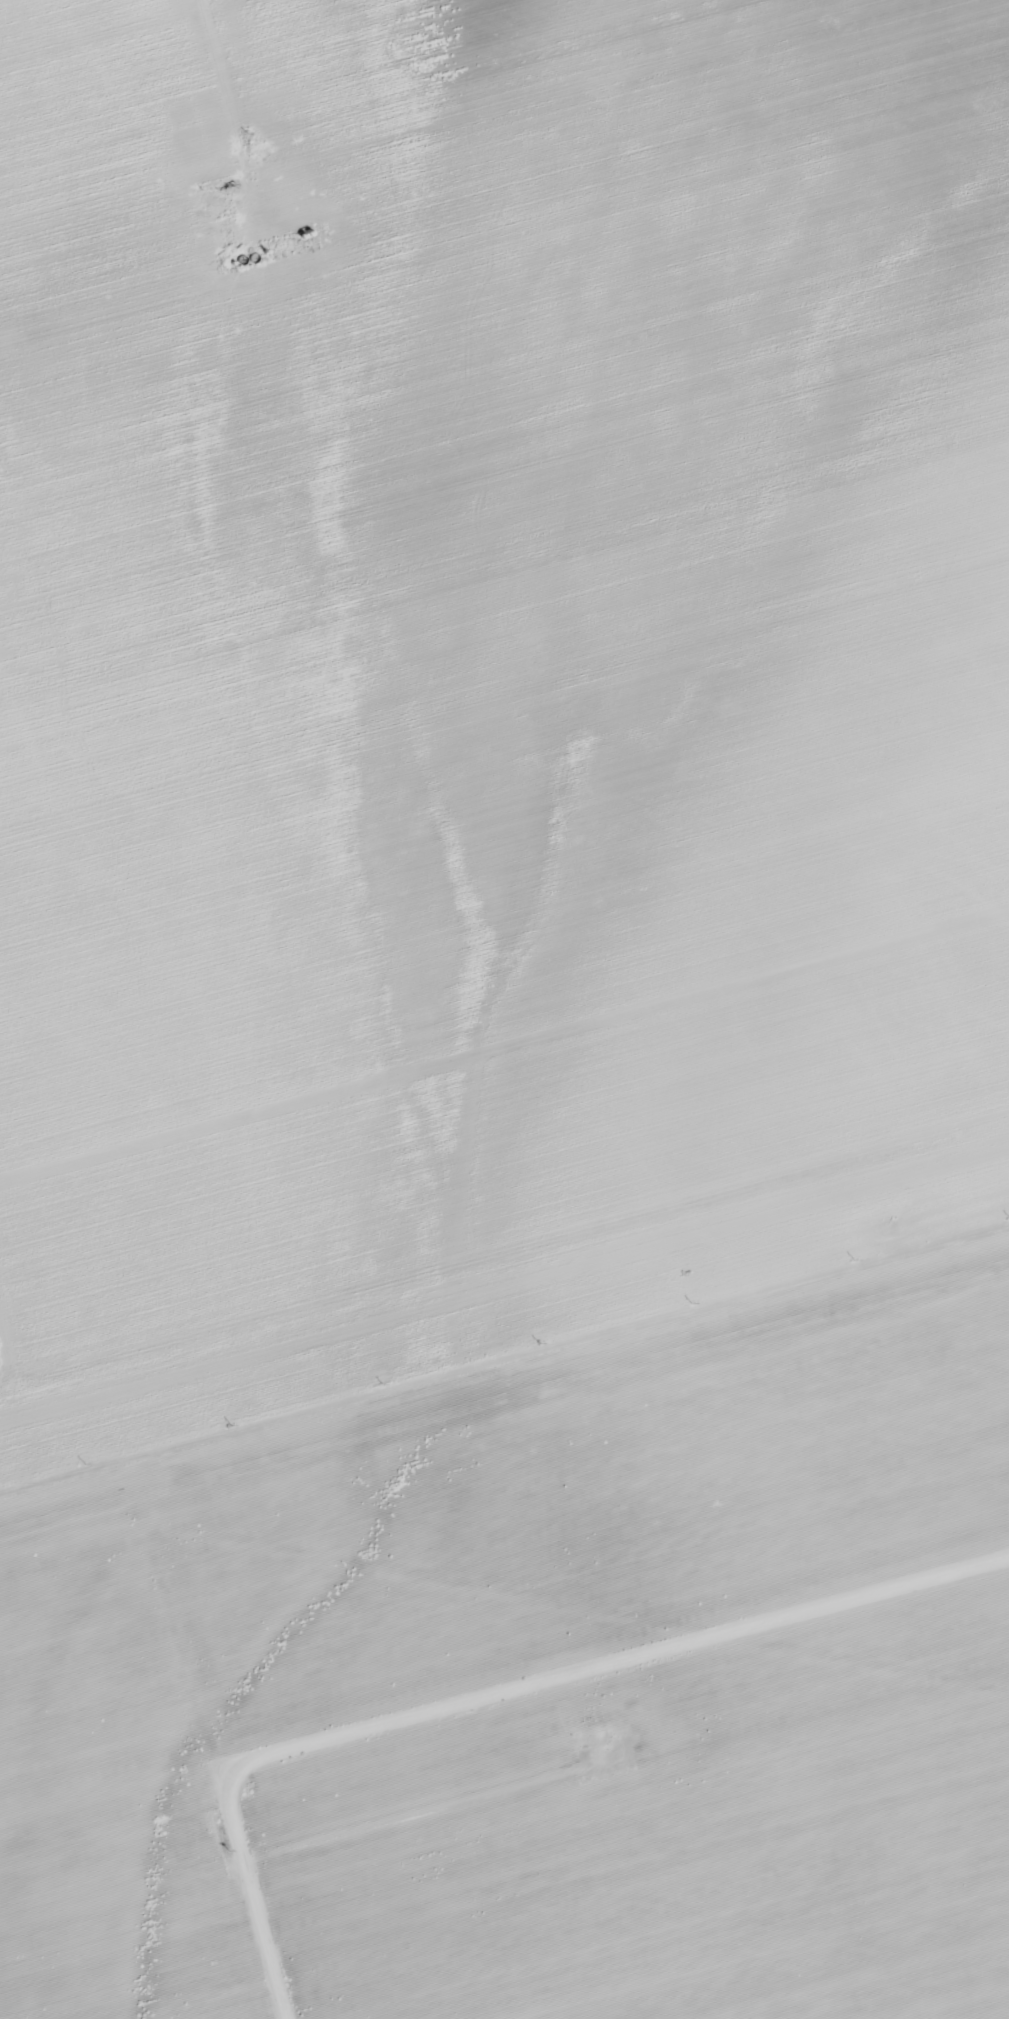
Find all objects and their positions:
road: (363, 1832)

